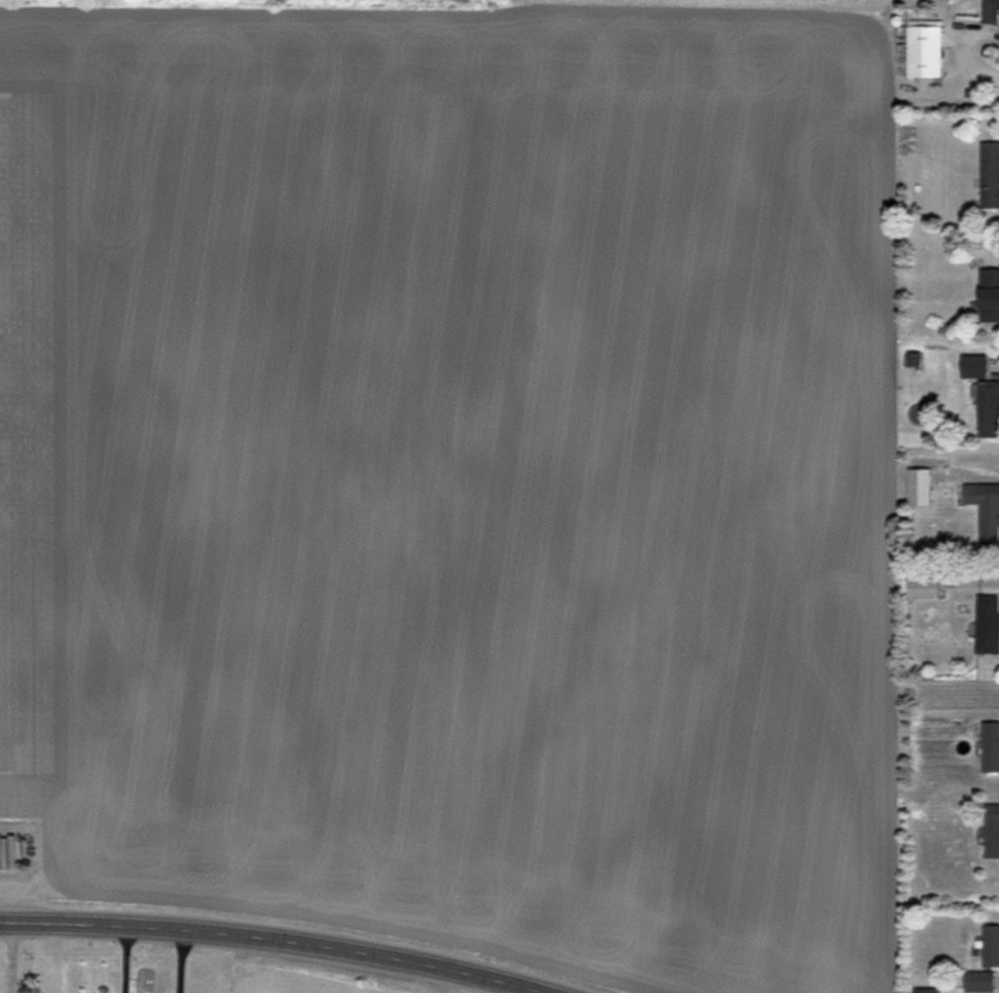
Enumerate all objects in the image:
building: (993, 11)
building: (929, 49)
building: (991, 174)
building: (990, 294)
building: (976, 365)
building: (989, 407)
building: (922, 485)
building: (986, 510)
building: (930, 586)
building: (989, 622)
building: (992, 746)
building: (993, 831)
building: (10, 851)
road: (270, 940)
building: (992, 945)
road: (125, 961)
road: (182, 964)
building: (983, 981)
building: (932, 990)

